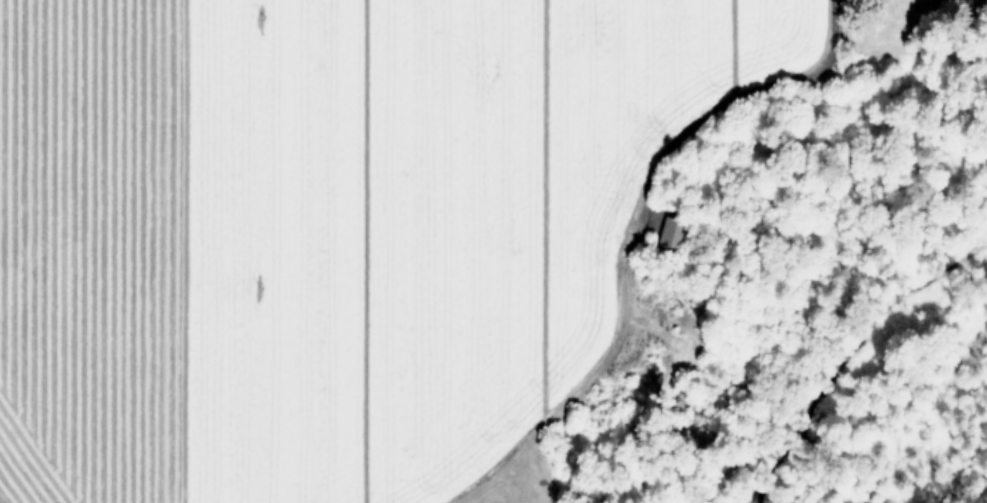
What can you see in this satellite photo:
crop: (365, 222)
building: (660, 232)

